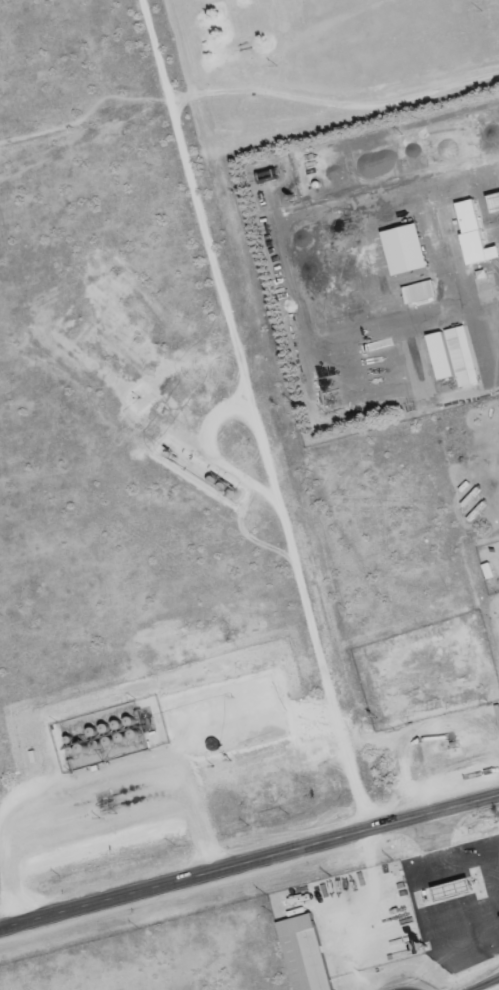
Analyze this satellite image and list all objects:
building: (470, 231)
building: (419, 292)
building: (439, 356)
building: (461, 356)
road: (259, 414)
building: (430, 693)
building: (494, 858)
road: (249, 862)
building: (303, 953)

